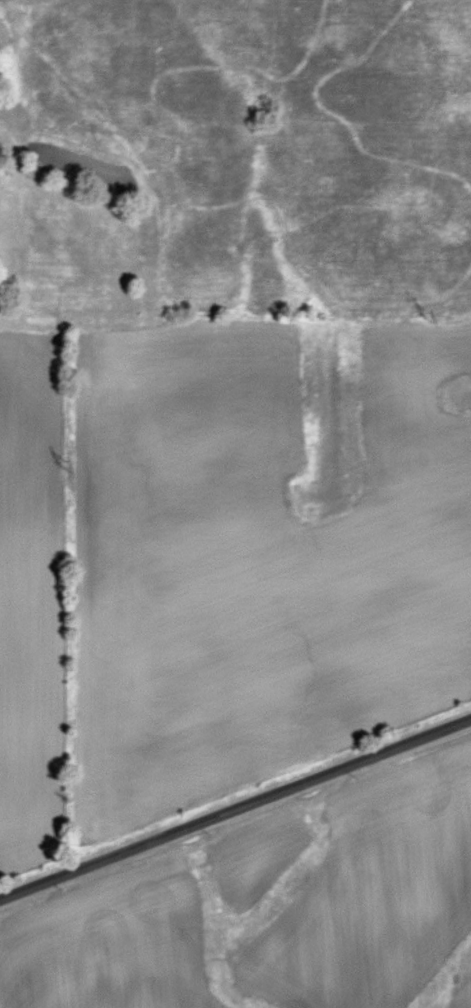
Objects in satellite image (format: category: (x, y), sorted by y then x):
road: (235, 794)

